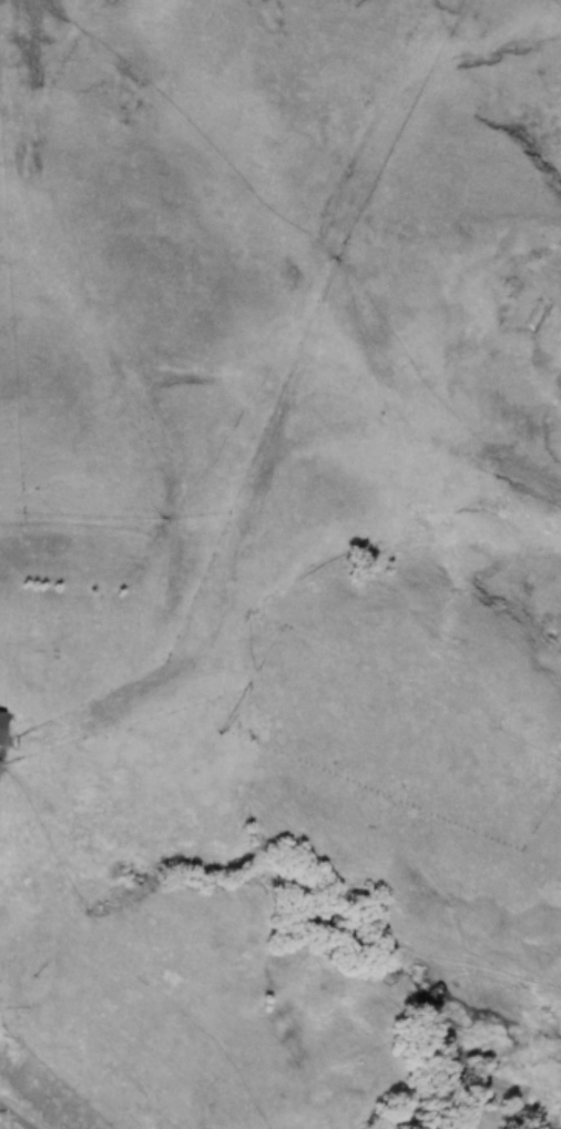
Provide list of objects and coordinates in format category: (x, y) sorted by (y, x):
building: (538, 316)
road: (41, 1103)

